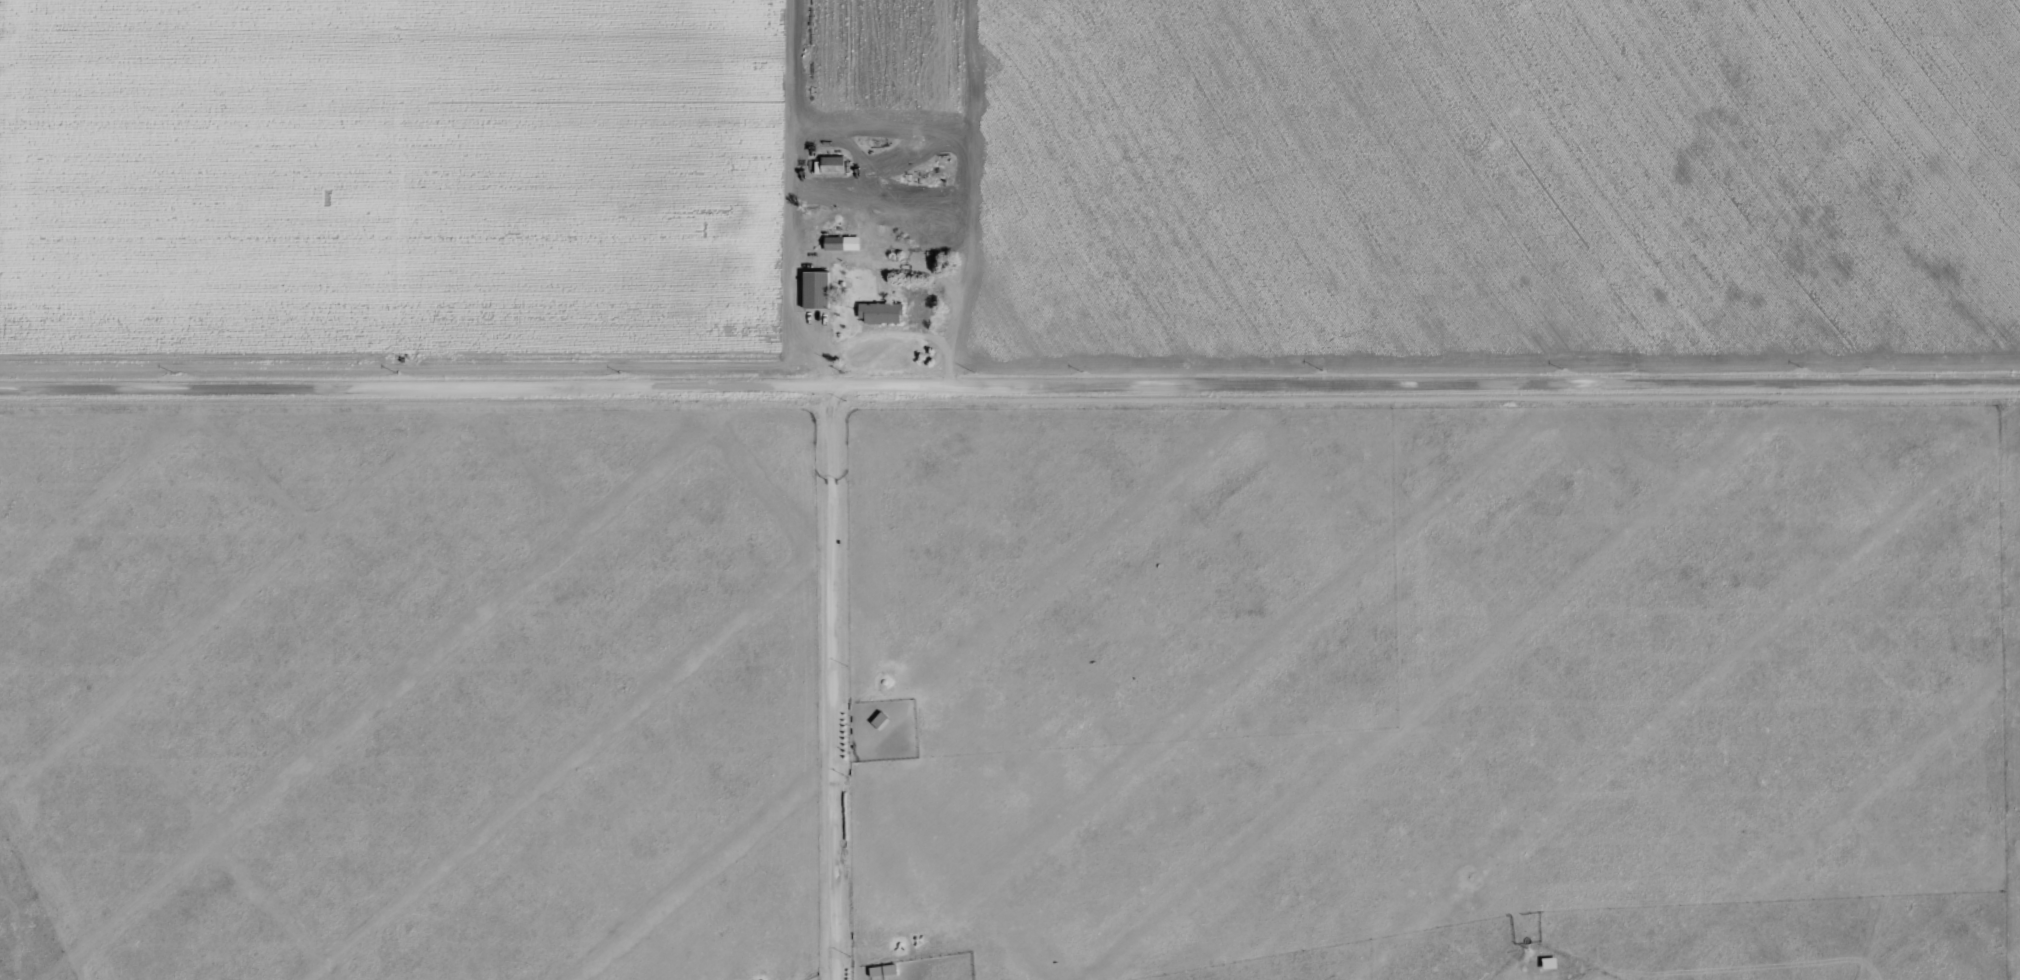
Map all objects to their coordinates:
building: (833, 164)
building: (842, 243)
road: (870, 266)
building: (816, 290)
building: (879, 312)
road: (870, 337)
road: (1009, 389)
road: (836, 685)
building: (880, 720)
building: (1550, 962)
building: (882, 970)

